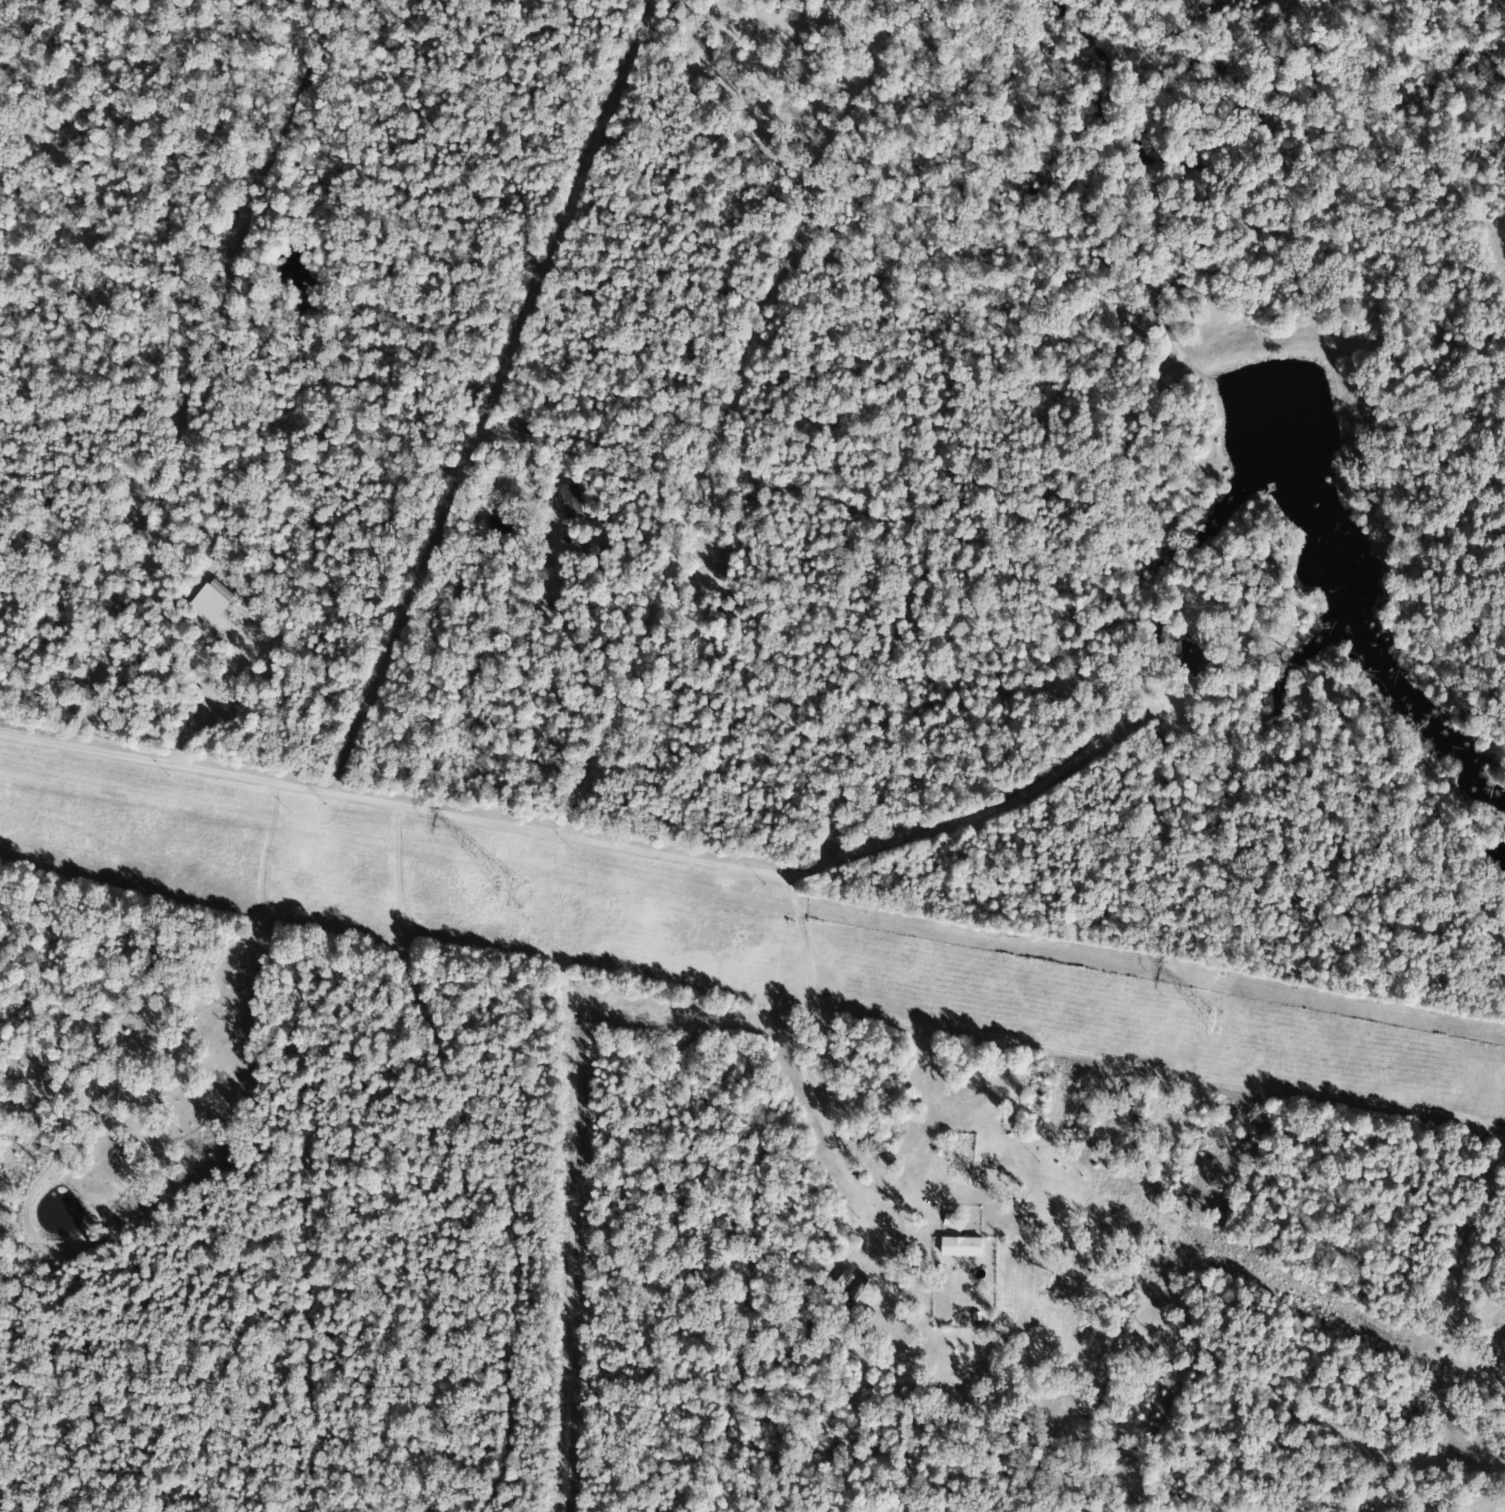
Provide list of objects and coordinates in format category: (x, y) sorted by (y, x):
building: (575, 502)
building: (215, 602)
building: (1194, 657)
power tower: (494, 888)
power tower: (1212, 1020)
building: (966, 1248)

